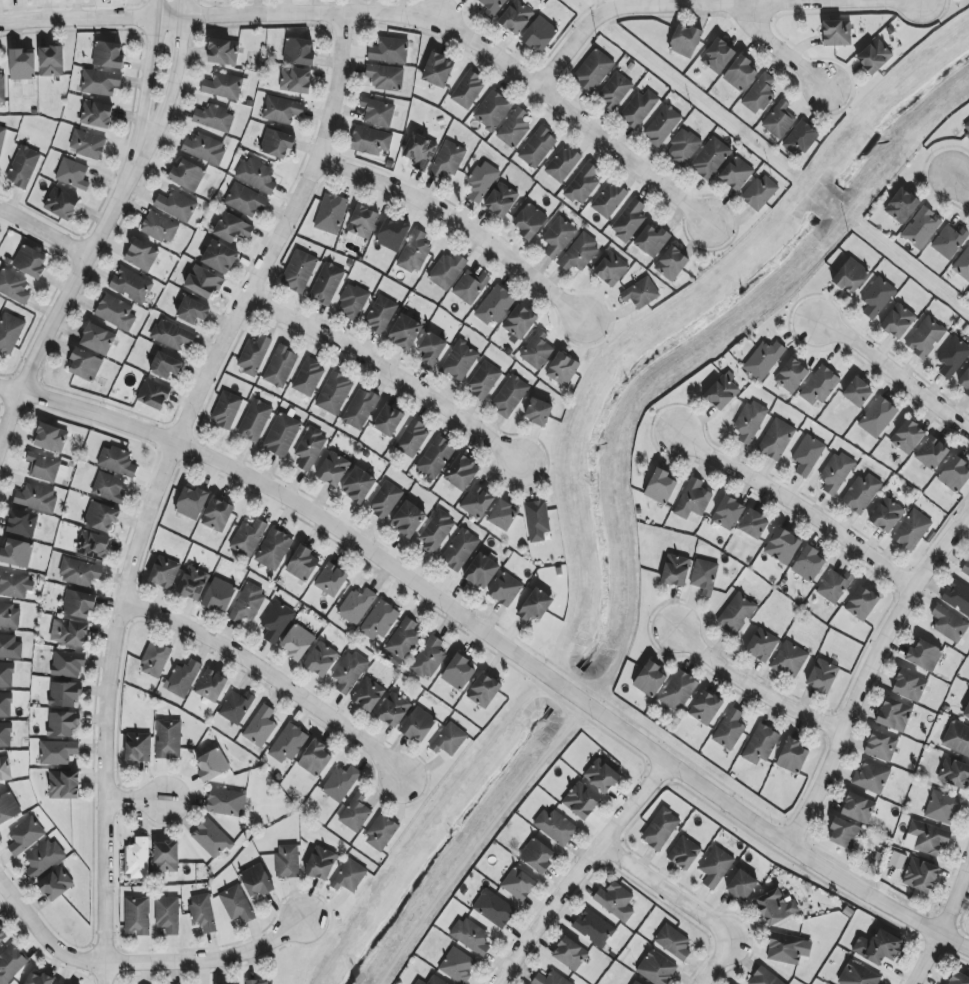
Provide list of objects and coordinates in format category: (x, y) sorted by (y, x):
road: (712, 4)
building: (492, 7)
road: (387, 15)
road: (435, 17)
building: (516, 17)
building: (539, 33)
building: (836, 33)
building: (685, 40)
road: (780, 44)
building: (389, 51)
building: (223, 52)
building: (299, 52)
building: (108, 55)
building: (718, 56)
building: (874, 56)
building: (51, 61)
building: (22, 65)
building: (438, 70)
building: (593, 71)
building: (740, 73)
road: (144, 74)
building: (385, 77)
road: (169, 78)
building: (296, 80)
building: (100, 82)
building: (223, 86)
building: (468, 90)
building: (2, 91)
building: (614, 91)
building: (759, 93)
building: (638, 108)
building: (282, 110)
building: (492, 110)
building: (378, 113)
building: (97, 114)
building: (214, 118)
building: (779, 120)
building: (662, 125)
building: (966, 127)
building: (514, 128)
building: (2, 137)
building: (800, 139)
building: (371, 141)
building: (277, 143)
building: (87, 144)
building: (683, 146)
building: (537, 147)
building: (205, 148)
building: (420, 151)
building: (710, 158)
building: (448, 160)
building: (562, 164)
building: (23, 167)
building: (736, 173)
building: (72, 174)
building: (187, 175)
building: (257, 175)
building: (482, 181)
building: (582, 184)
road: (956, 184)
building: (760, 192)
building: (609, 199)
building: (245, 200)
building: (501, 200)
building: (61, 204)
building: (902, 205)
building: (177, 206)
building: (331, 213)
building: (629, 220)
building: (529, 221)
road: (457, 222)
building: (362, 223)
building: (160, 228)
building: (233, 228)
building: (921, 228)
road: (42, 231)
building: (393, 234)
building: (558, 237)
building: (652, 240)
building: (949, 241)
building: (414, 252)
building: (579, 253)
building: (141, 255)
building: (219, 257)
building: (30, 261)
building: (672, 263)
building: (962, 265)
building: (611, 269)
building: (299, 271)
building: (447, 271)
building: (851, 275)
building: (203, 282)
building: (327, 284)
building: (131, 285)
building: (13, 286)
building: (470, 286)
road: (66, 289)
building: (641, 293)
building: (877, 297)
building: (352, 302)
building: (495, 305)
building: (193, 311)
building: (116, 312)
building: (380, 315)
building: (898, 321)
building: (519, 322)
building: (405, 332)
building: (9, 333)
building: (172, 335)
building: (925, 337)
building: (98, 339)
building: (432, 349)
building: (537, 350)
building: (254, 355)
building: (953, 356)
building: (764, 359)
building: (460, 361)
building: (85, 365)
building: (166, 366)
building: (280, 366)
building: (562, 369)
road: (386, 371)
building: (792, 375)
road: (899, 377)
building: (308, 378)
building: (484, 380)
building: (965, 382)
building: (820, 385)
building: (723, 391)
building: (858, 392)
building: (334, 393)
building: (153, 394)
building: (509, 396)
building: (360, 409)
building: (226, 410)
building: (538, 411)
building: (877, 417)
building: (255, 421)
building: (388, 421)
building: (750, 421)
building: (282, 435)
building: (908, 436)
building: (51, 438)
building: (413, 439)
building: (776, 439)
building: (310, 448)
building: (932, 453)
building: (808, 455)
building: (435, 457)
building: (117, 462)
building: (46, 468)
building: (333, 469)
building: (462, 472)
building: (836, 472)
building: (955, 474)
road: (157, 482)
building: (358, 485)
building: (660, 486)
building: (109, 487)
building: (861, 493)
building: (36, 498)
building: (693, 499)
building: (385, 500)
building: (192, 502)
building: (477, 502)
road: (805, 508)
building: (728, 513)
building: (218, 515)
building: (503, 515)
building: (887, 515)
building: (101, 517)
building: (408, 519)
building: (537, 520)
building: (22, 523)
building: (754, 524)
building: (912, 530)
building: (436, 532)
building: (248, 537)
building: (93, 545)
building: (782, 546)
building: (273, 549)
building: (460, 549)
building: (17, 553)
building: (303, 564)
building: (808, 564)
building: (966, 569)
building: (675, 570)
building: (79, 572)
building: (164, 572)
building: (481, 572)
building: (704, 576)
building: (331, 580)
building: (193, 583)
building: (15, 585)
building: (834, 586)
building: (505, 589)
building: (219, 595)
building: (957, 596)
building: (248, 603)
building: (862, 603)
building: (78, 604)
building: (356, 606)
building: (535, 606)
building: (736, 613)
building: (9, 616)
building: (276, 621)
building: (380, 621)
building: (949, 623)
building: (70, 633)
building: (298, 642)
building: (403, 642)
road: (496, 642)
building: (762, 645)
building: (10, 647)
building: (924, 655)
building: (429, 658)
building: (155, 660)
building: (321, 660)
building: (789, 660)
building: (68, 664)
building: (350, 672)
building: (458, 672)
building: (6, 675)
road: (269, 676)
building: (822, 676)
building: (183, 679)
building: (650, 679)
road: (874, 680)
building: (211, 686)
building: (909, 686)
building: (484, 690)
building: (678, 691)
building: (65, 694)
road: (757, 694)
building: (368, 695)
building: (6, 705)
building: (236, 707)
building: (705, 707)
building: (393, 710)
building: (967, 712)
building: (894, 714)
building: (64, 724)
building: (418, 725)
building: (261, 726)
building: (730, 729)
building: (6, 735)
building: (957, 738)
building: (168, 739)
building: (449, 740)
building: (288, 743)
building: (761, 744)
building: (881, 746)
building: (138, 747)
building: (57, 752)
building: (793, 756)
building: (315, 758)
building: (212, 765)
building: (5, 769)
building: (954, 773)
building: (602, 775)
building: (871, 777)
building: (341, 783)
building: (64, 785)
road: (134, 799)
building: (581, 801)
building: (226, 802)
building: (8, 808)
building: (858, 808)
building: (942, 808)
building: (355, 813)
building: (556, 826)
building: (660, 829)
building: (381, 833)
building: (845, 833)
building: (25, 836)
building: (928, 837)
building: (211, 839)
building: (684, 853)
building: (537, 855)
building: (167, 857)
building: (44, 858)
building: (138, 859)
building: (897, 860)
building: (288, 861)
building: (321, 864)
building: (715, 867)
road: (579, 871)
building: (920, 875)
building: (349, 876)
building: (256, 881)
building: (518, 883)
building: (55, 885)
building: (742, 885)
building: (615, 901)
building: (236, 904)
building: (776, 907)
building: (494, 908)
road: (690, 908)
building: (202, 912)
building: (168, 914)
building: (137, 916)
road: (943, 922)
building: (594, 927)
building: (2, 934)
building: (470, 936)
building: (673, 942)
building: (878, 947)
building: (785, 948)
building: (570, 954)
building: (11, 964)
road: (140, 964)
building: (457, 965)
building: (657, 968)
building: (858, 975)
building: (764, 978)
building: (39, 979)
building: (550, 979)
building: (959, 979)
building: (436, 980)
building: (419, 982)
building: (636, 982)
building: (259, 983)

